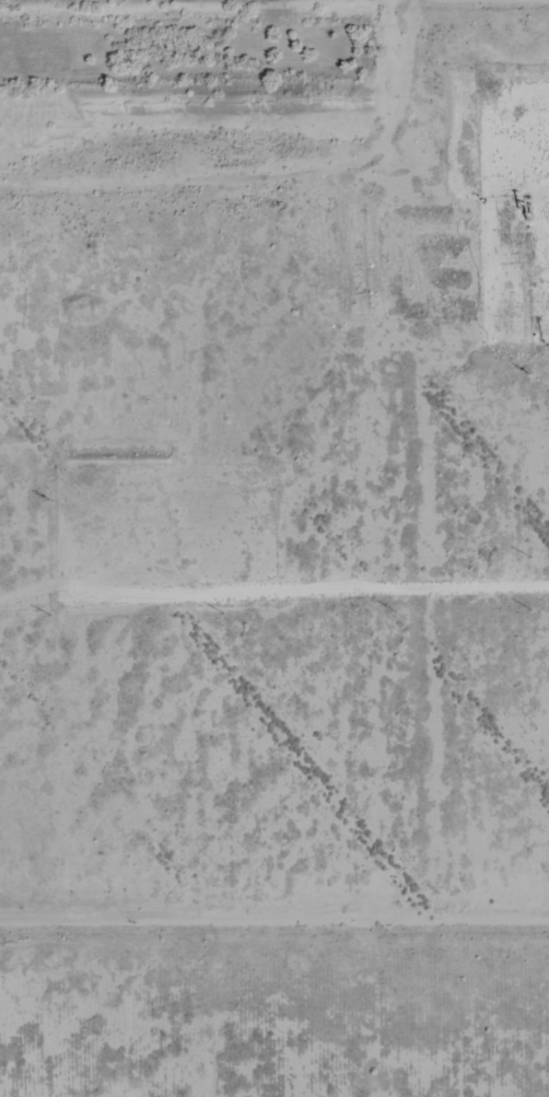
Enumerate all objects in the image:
road: (273, 905)

